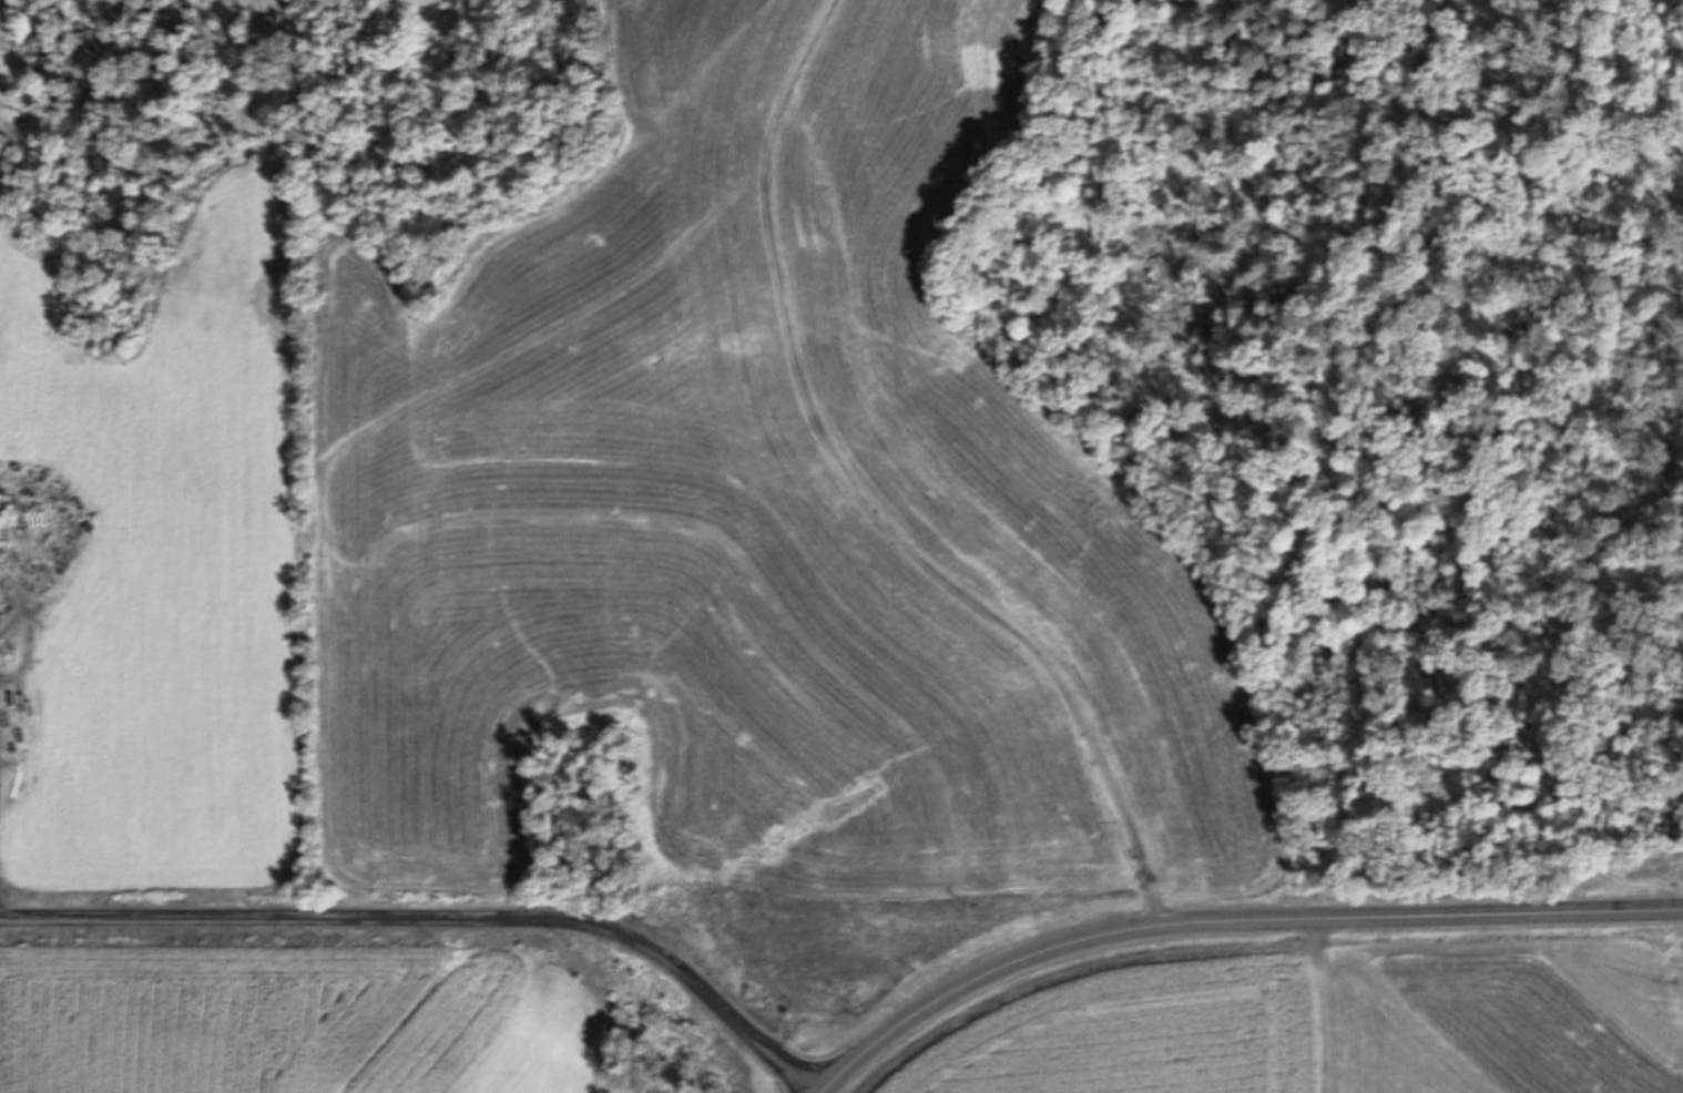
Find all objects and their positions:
road: (865, 499)
road: (437, 923)
road: (1228, 926)

